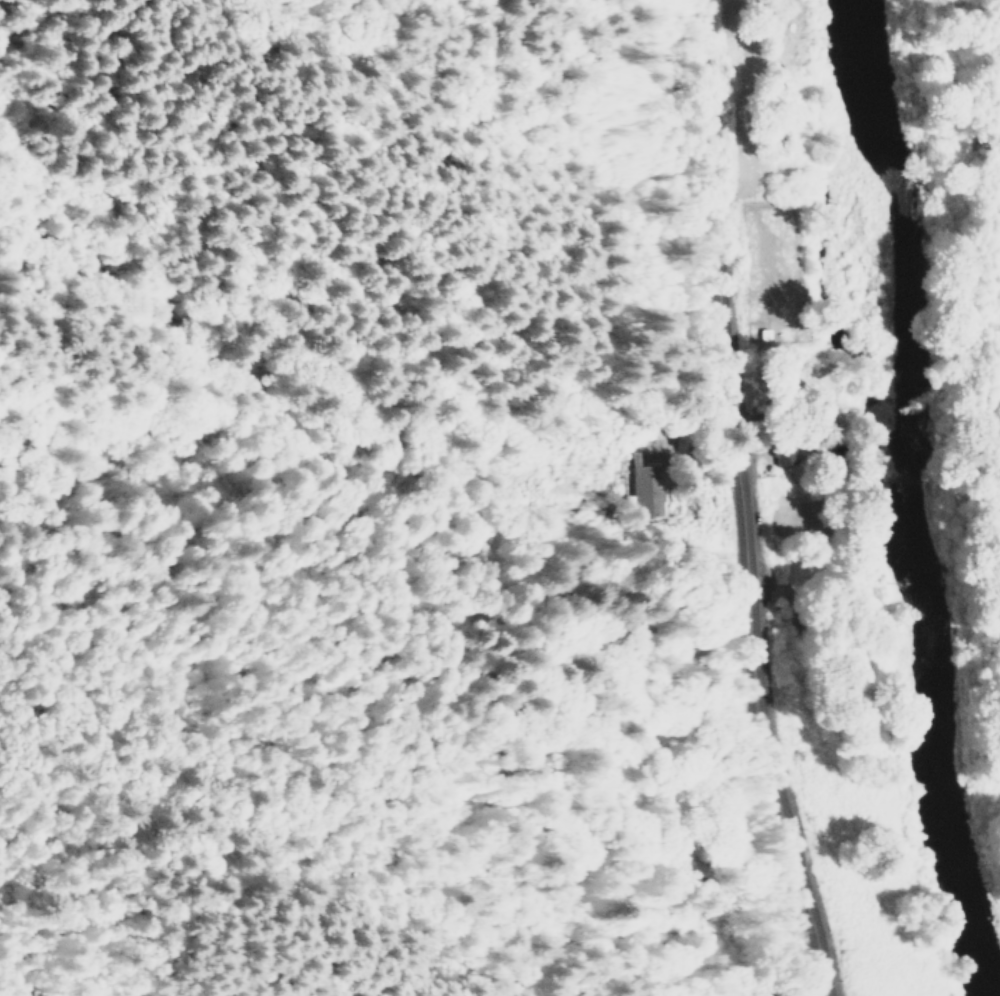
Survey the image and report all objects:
building: (779, 456)
building: (644, 491)
river: (896, 500)
road: (739, 501)

